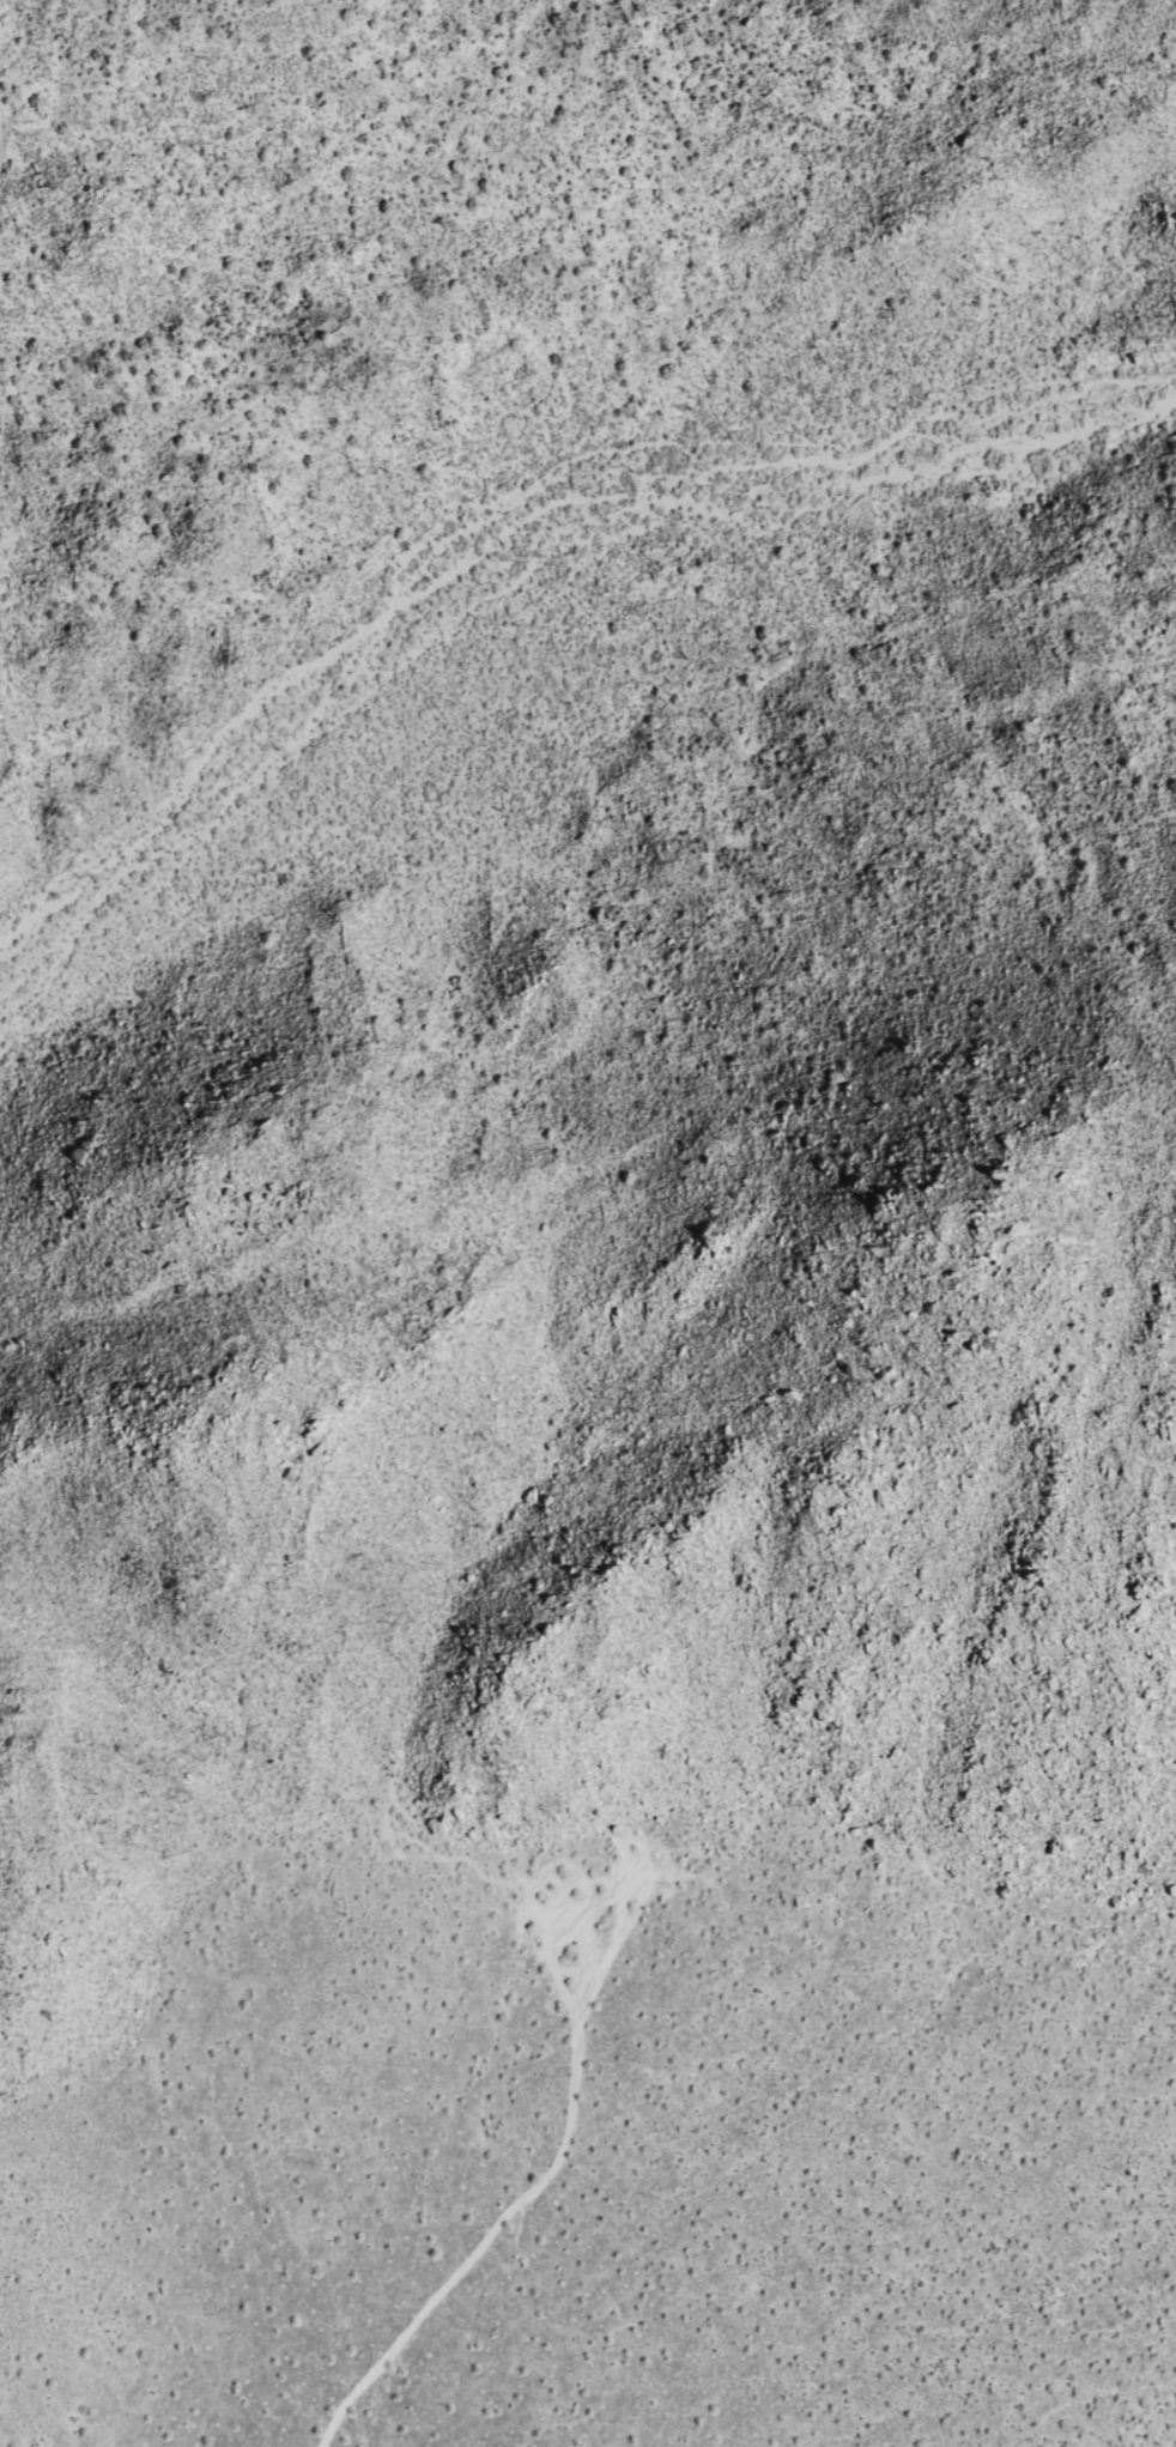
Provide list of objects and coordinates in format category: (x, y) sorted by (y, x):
road: (535, 2179)

